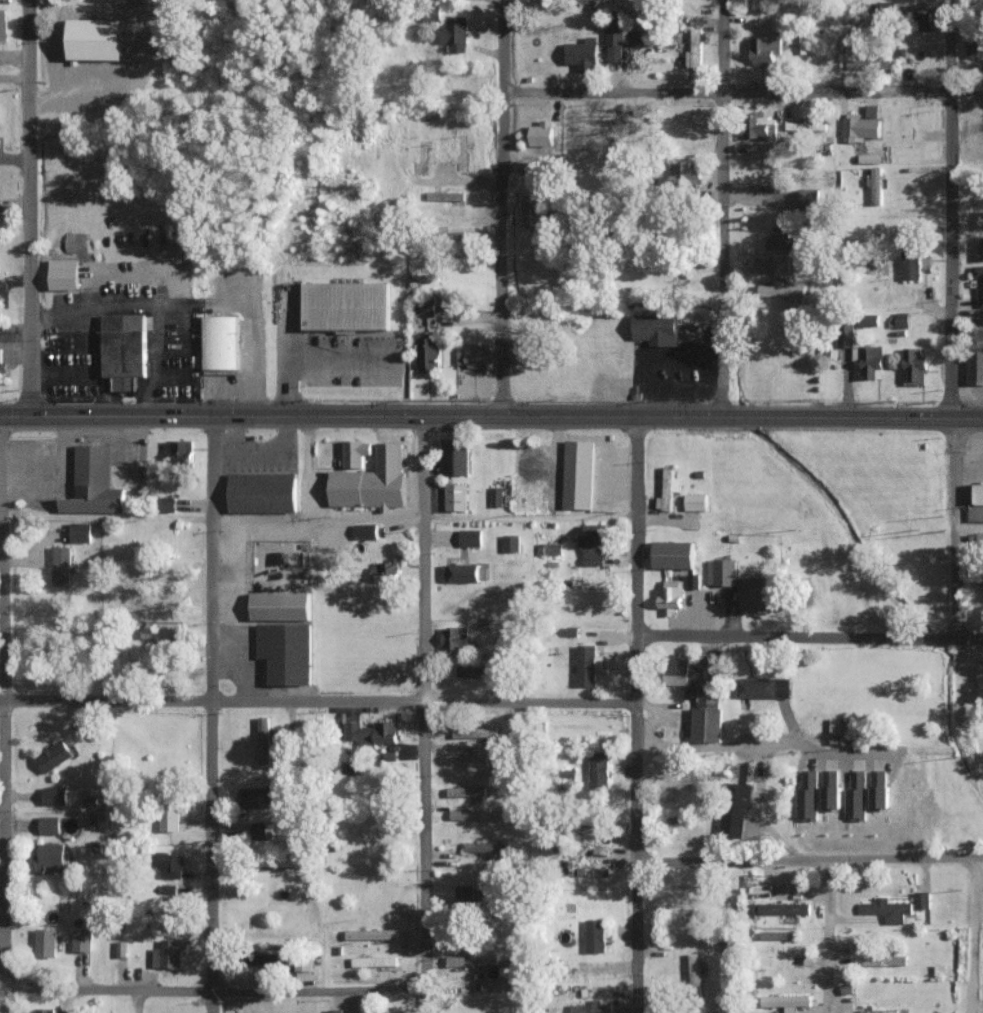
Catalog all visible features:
building: (921, 20)
building: (3, 25)
building: (455, 33)
building: (94, 39)
building: (619, 40)
building: (972, 43)
building: (694, 50)
building: (766, 51)
building: (583, 54)
building: (855, 64)
road: (726, 93)
building: (872, 110)
building: (806, 126)
building: (762, 128)
building: (859, 128)
building: (542, 133)
building: (461, 153)
road: (14, 156)
building: (422, 157)
building: (685, 174)
road: (465, 181)
building: (876, 186)
building: (445, 196)
building: (808, 199)
road: (29, 207)
road: (499, 207)
road: (721, 207)
building: (526, 210)
building: (779, 239)
building: (982, 248)
building: (781, 261)
building: (911, 264)
building: (63, 276)
building: (979, 285)
building: (783, 290)
building: (348, 307)
building: (425, 307)
road: (950, 318)
building: (899, 320)
parking lot: (244, 326)
building: (659, 329)
building: (846, 335)
building: (222, 343)
building: (126, 349)
building: (428, 352)
road: (288, 353)
building: (471, 355)
road: (338, 356)
building: (975, 356)
parking lot: (352, 359)
building: (872, 361)
building: (0, 366)
building: (914, 367)
road: (491, 415)
building: (179, 448)
building: (357, 453)
building: (454, 455)
building: (527, 460)
parking lot: (259, 464)
parking lot: (970, 465)
road: (306, 467)
road: (967, 473)
building: (579, 475)
building: (374, 482)
building: (94, 484)
building: (666, 489)
building: (264, 493)
building: (979, 494)
building: (455, 496)
building: (497, 496)
building: (696, 501)
building: (166, 504)
road: (366, 517)
road: (261, 520)
road: (968, 522)
road: (636, 524)
building: (365, 530)
building: (79, 531)
building: (470, 536)
building: (976, 538)
building: (511, 542)
building: (593, 543)
building: (673, 553)
road: (212, 557)
road: (423, 558)
building: (61, 565)
building: (385, 569)
building: (460, 571)
building: (721, 571)
building: (677, 591)
building: (760, 596)
road: (3, 606)
building: (282, 607)
building: (161, 632)
road: (810, 635)
building: (455, 637)
building: (287, 653)
building: (587, 664)
building: (472, 670)
building: (693, 678)
building: (980, 679)
building: (763, 686)
road: (317, 701)
building: (699, 723)
building: (839, 725)
building: (372, 732)
building: (475, 732)
building: (263, 738)
road: (728, 745)
building: (53, 755)
building: (468, 760)
building: (598, 769)
building: (680, 778)
building: (830, 789)
building: (879, 789)
building: (466, 790)
building: (54, 795)
building: (807, 795)
building: (856, 795)
building: (255, 797)
building: (735, 809)
building: (472, 814)
building: (169, 815)
road: (634, 822)
building: (48, 824)
building: (262, 830)
building: (485, 847)
road: (211, 856)
road: (7, 857)
building: (47, 857)
road: (422, 857)
road: (808, 860)
building: (169, 864)
building: (600, 871)
building: (168, 890)
building: (464, 892)
building: (922, 899)
building: (783, 908)
building: (888, 909)
building: (371, 933)
building: (595, 935)
road: (828, 936)
road: (974, 936)
building: (82, 940)
building: (45, 942)
building: (165, 957)
building: (264, 958)
building: (473, 959)
building: (374, 960)
building: (884, 960)
building: (303, 964)
building: (694, 971)
road: (214, 985)
building: (786, 1000)
building: (587, 1007)
building: (39, 1010)
building: (335, 1010)

